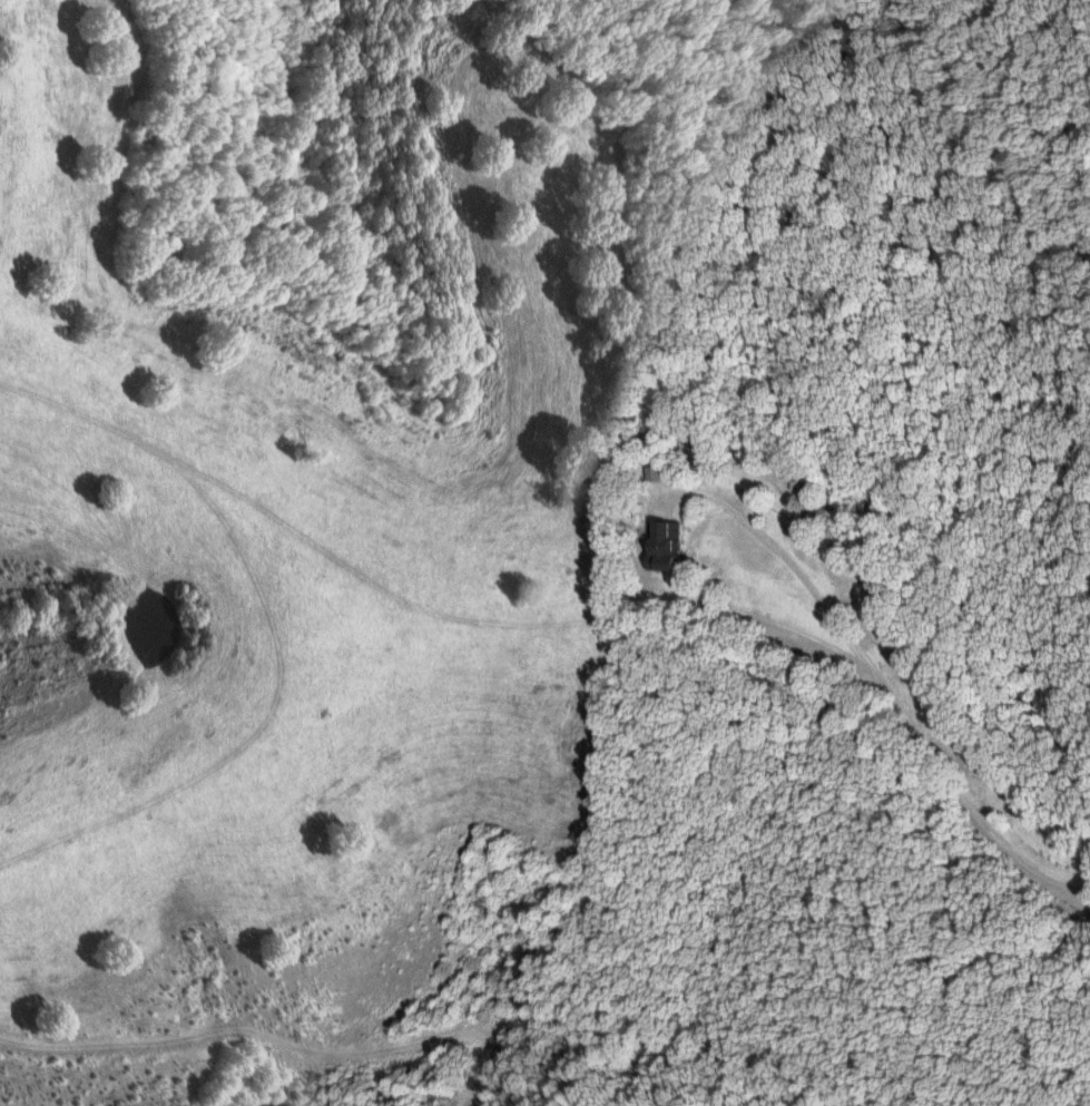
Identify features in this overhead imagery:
road: (681, 496)
road: (900, 717)

